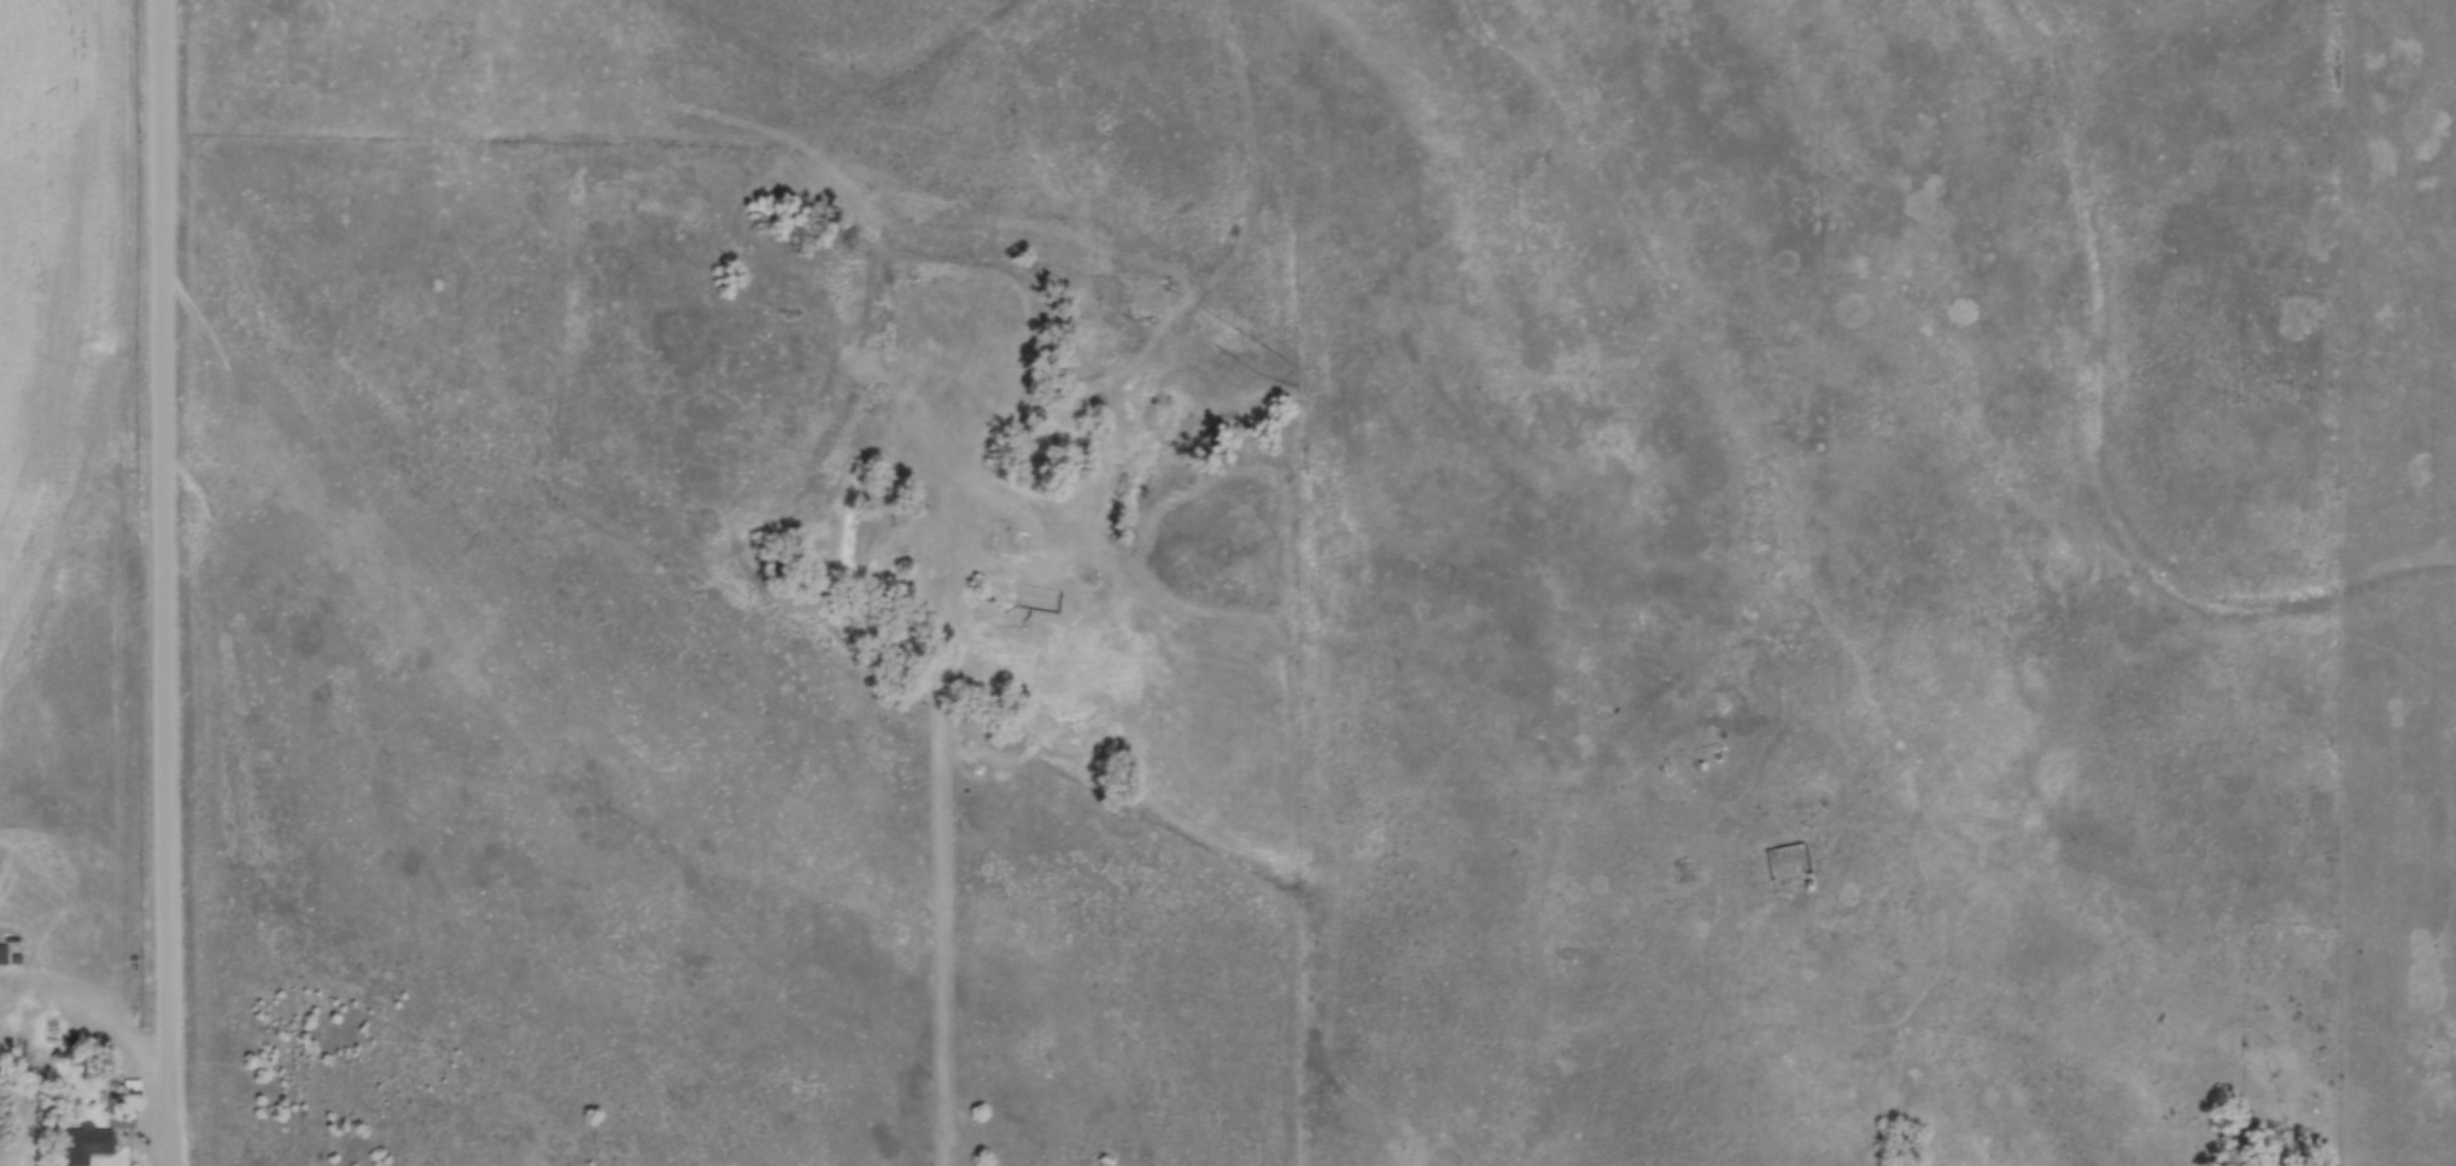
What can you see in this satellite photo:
road: (151, 582)
building: (1033, 602)
road: (942, 881)
building: (0, 954)
building: (82, 1144)

